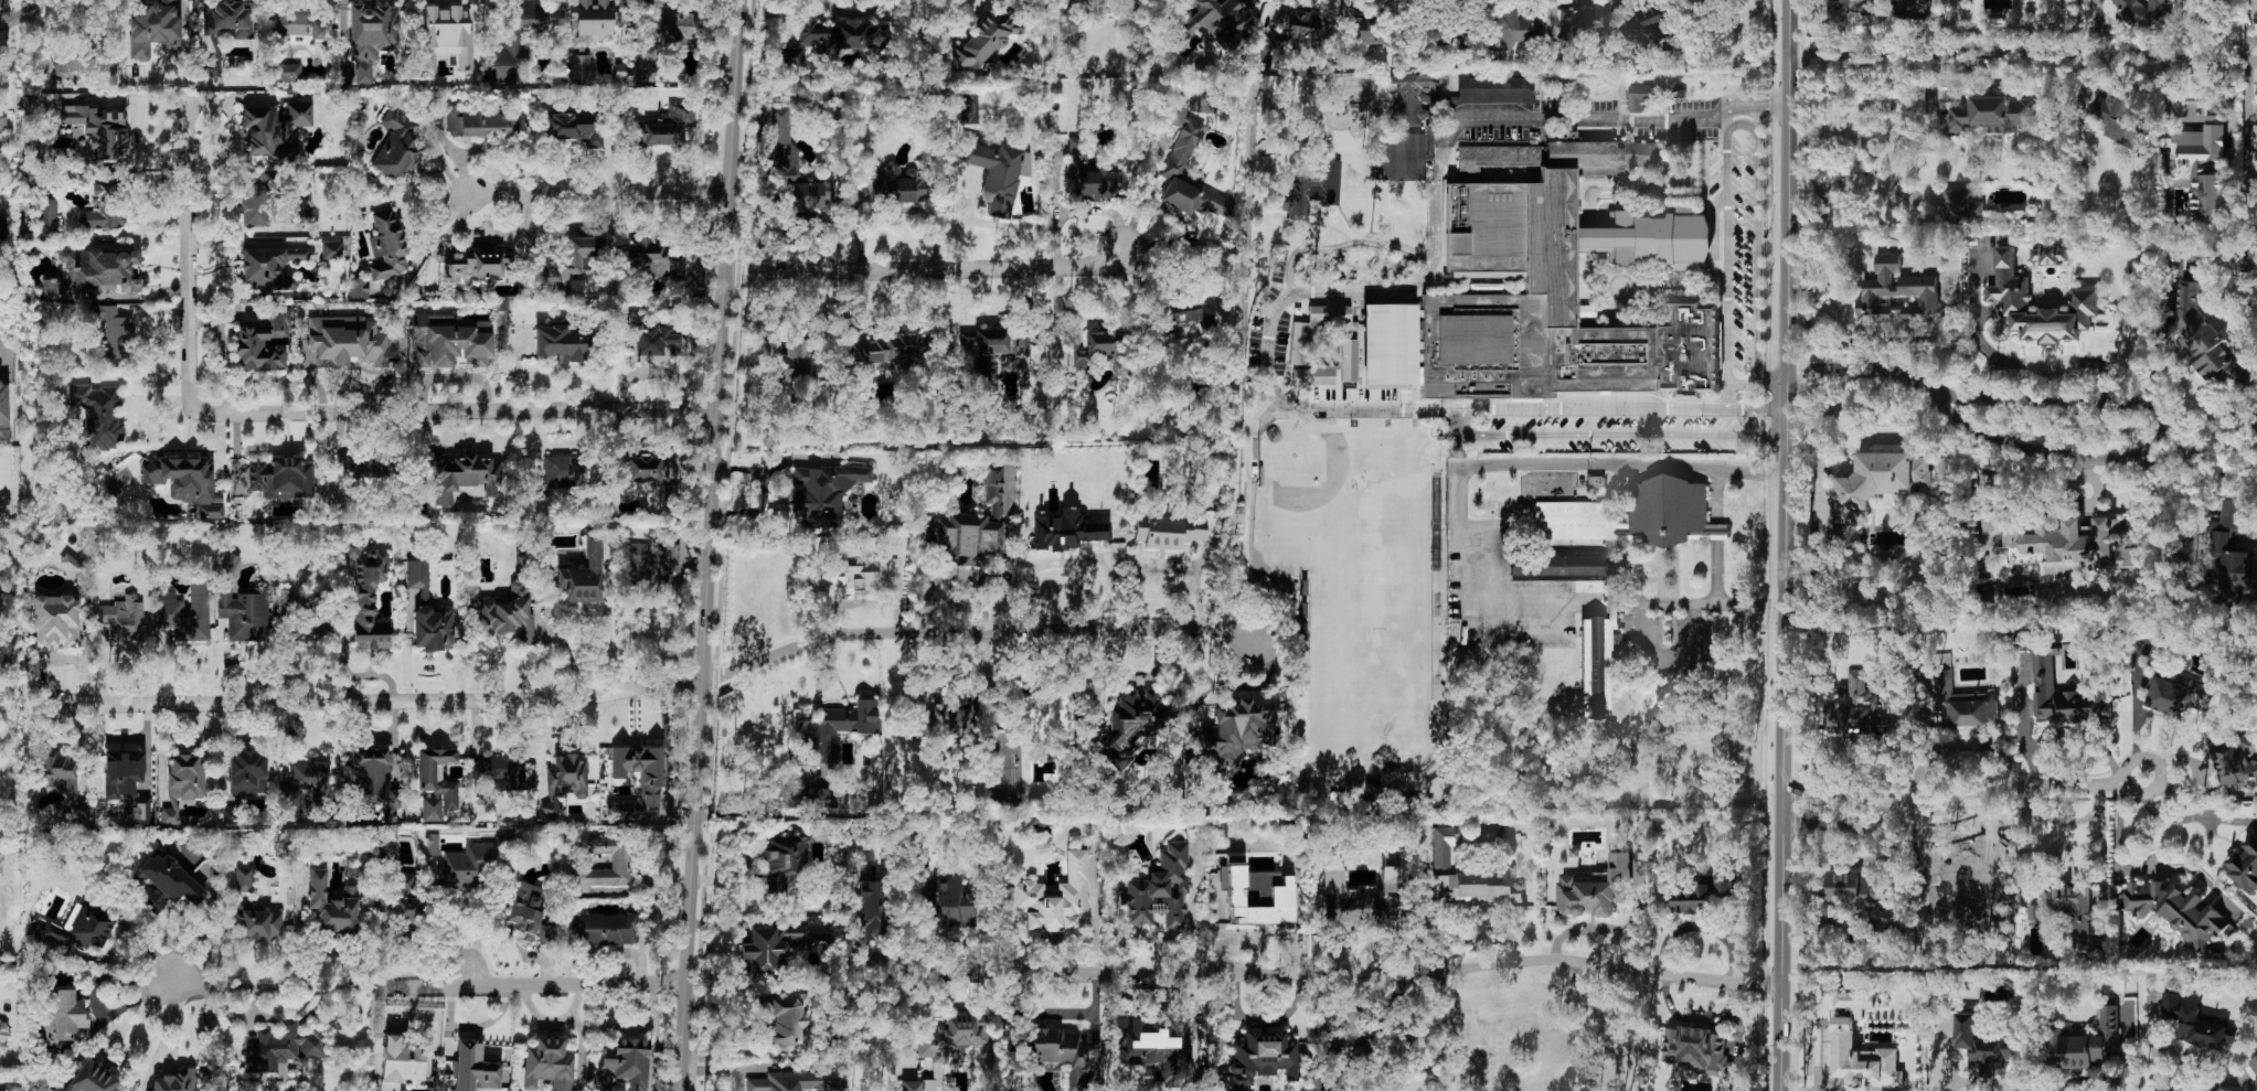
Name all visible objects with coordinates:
building: (1708, 0)
building: (2255, 6)
building: (1848, 8)
building: (2142, 12)
road: (24, 14)
building: (228, 19)
building: (1217, 21)
building: (1584, 21)
building: (592, 22)
building: (1652, 23)
building: (302, 26)
building: (1519, 28)
building: (152, 30)
building: (670, 32)
building: (448, 34)
building: (1288, 35)
building: (1367, 35)
building: (371, 36)
building: (984, 40)
building: (833, 41)
building: (518, 43)
road: (2024, 52)
building: (65, 62)
building: (582, 67)
building: (209, 68)
building: (286, 72)
building: (1494, 90)
road: (2248, 92)
building: (1642, 96)
building: (1412, 100)
building: (1177, 114)
building: (1991, 114)
road: (1636, 116)
building: (2118, 118)
road: (1757, 119)
building: (481, 122)
road: (1739, 122)
road: (1725, 125)
building: (574, 126)
building: (667, 127)
building: (276, 130)
building: (102, 132)
building: (1568, 136)
building: (2256, 138)
building: (397, 146)
building: (1182, 150)
building: (1398, 156)
building: (791, 163)
building: (2203, 168)
building: (998, 173)
building: (1090, 175)
road: (1436, 175)
building: (896, 185)
building: (1314, 191)
road: (598, 193)
building: (256, 203)
building: (1962, 204)
building: (105, 208)
building: (47, 217)
building: (1, 225)
building: (386, 246)
road: (1340, 246)
building: (331, 250)
building: (2050, 254)
building: (654, 260)
building: (571, 263)
building: (270, 267)
building: (477, 268)
road: (925, 270)
building: (94, 272)
building: (359, 288)
building: (1545, 290)
road: (1370, 291)
building: (1898, 293)
building: (2008, 293)
building: (1178, 318)
building: (115, 333)
building: (2205, 340)
building: (345, 341)
building: (651, 341)
building: (451, 343)
building: (565, 343)
building: (996, 343)
building: (263, 344)
building: (1098, 346)
building: (888, 350)
building: (1349, 361)
road: (2047, 361)
road: (1857, 368)
building: (981, 373)
building: (1316, 375)
road: (1755, 381)
road: (1310, 409)
road: (1764, 410)
building: (3, 413)
road: (305, 413)
building: (98, 416)
road: (1873, 432)
road: (1473, 436)
road: (2163, 436)
road: (1765, 437)
road: (1817, 456)
building: (643, 469)
building: (562, 472)
road: (1752, 472)
building: (366, 473)
building: (280, 478)
building: (465, 480)
building: (1596, 481)
building: (1877, 482)
building: (185, 483)
road: (2159, 489)
building: (823, 493)
building: (1635, 515)
road: (1456, 518)
building: (970, 527)
building: (1066, 530)
building: (1169, 532)
road: (707, 545)
road: (1784, 545)
building: (2074, 545)
building: (2232, 550)
road: (1114, 557)
building: (231, 564)
building: (650, 564)
building: (72, 565)
building: (1566, 566)
road: (961, 573)
building: (583, 576)
building: (418, 577)
building: (853, 578)
road: (1492, 586)
building: (366, 593)
road: (865, 601)
building: (185, 613)
building: (245, 614)
building: (507, 616)
road: (607, 617)
building: (123, 619)
building: (56, 620)
building: (308, 623)
building: (434, 628)
road: (1695, 648)
building: (1597, 657)
road: (657, 683)
building: (2175, 688)
building: (2063, 695)
building: (1854, 704)
building: (1959, 705)
building: (936, 721)
building: (1133, 725)
road: (2085, 728)
road: (2029, 729)
building: (837, 730)
building: (1235, 732)
building: (2235, 764)
building: (641, 770)
road: (2200, 770)
building: (248, 772)
building: (501, 772)
building: (309, 780)
building: (374, 780)
building: (63, 782)
building: (127, 782)
building: (436, 783)
building: (565, 783)
building: (183, 787)
road: (2011, 789)
road: (2127, 790)
road: (1843, 792)
building: (805, 798)
road: (2189, 819)
road: (2065, 822)
road: (1843, 823)
building: (433, 845)
building: (1444, 845)
building: (863, 851)
building: (621, 859)
road: (744, 859)
building: (473, 863)
building: (784, 864)
building: (2246, 865)
road: (2117, 866)
road: (2102, 873)
building: (244, 879)
building: (1726, 883)
building: (167, 884)
building: (404, 884)
building: (1476, 887)
building: (1599, 888)
building: (1160, 889)
building: (1952, 890)
building: (1358, 895)
building: (1281, 897)
building: (1691, 897)
building: (1055, 898)
building: (947, 905)
building: (332, 906)
building: (1883, 906)
building: (381, 909)
road: (1095, 909)
building: (526, 910)
building: (871, 910)
building: (2176, 910)
building: (2035, 911)
building: (2076, 918)
road: (487, 919)
building: (257, 923)
road: (1701, 926)
building: (604, 929)
building: (81, 930)
building: (546, 934)
building: (777, 948)
road: (1343, 974)
road: (469, 978)
road: (427, 987)
building: (62, 1016)
road: (1696, 1019)
building: (2194, 1022)
building: (784, 1023)
building: (1843, 1034)
road: (164, 1036)
building: (3, 1039)
building: (2085, 1042)
building: (1982, 1045)
building: (946, 1046)
building: (283, 1047)
building: (1695, 1049)
building: (1057, 1051)
building: (1263, 1059)
building: (402, 1062)
building: (547, 1063)
building: (624, 1063)
building: (2254, 1063)
building: (475, 1068)
road: (721, 1069)
building: (91, 1079)
building: (175, 1081)
building: (799, 1081)
road: (2227, 1081)

